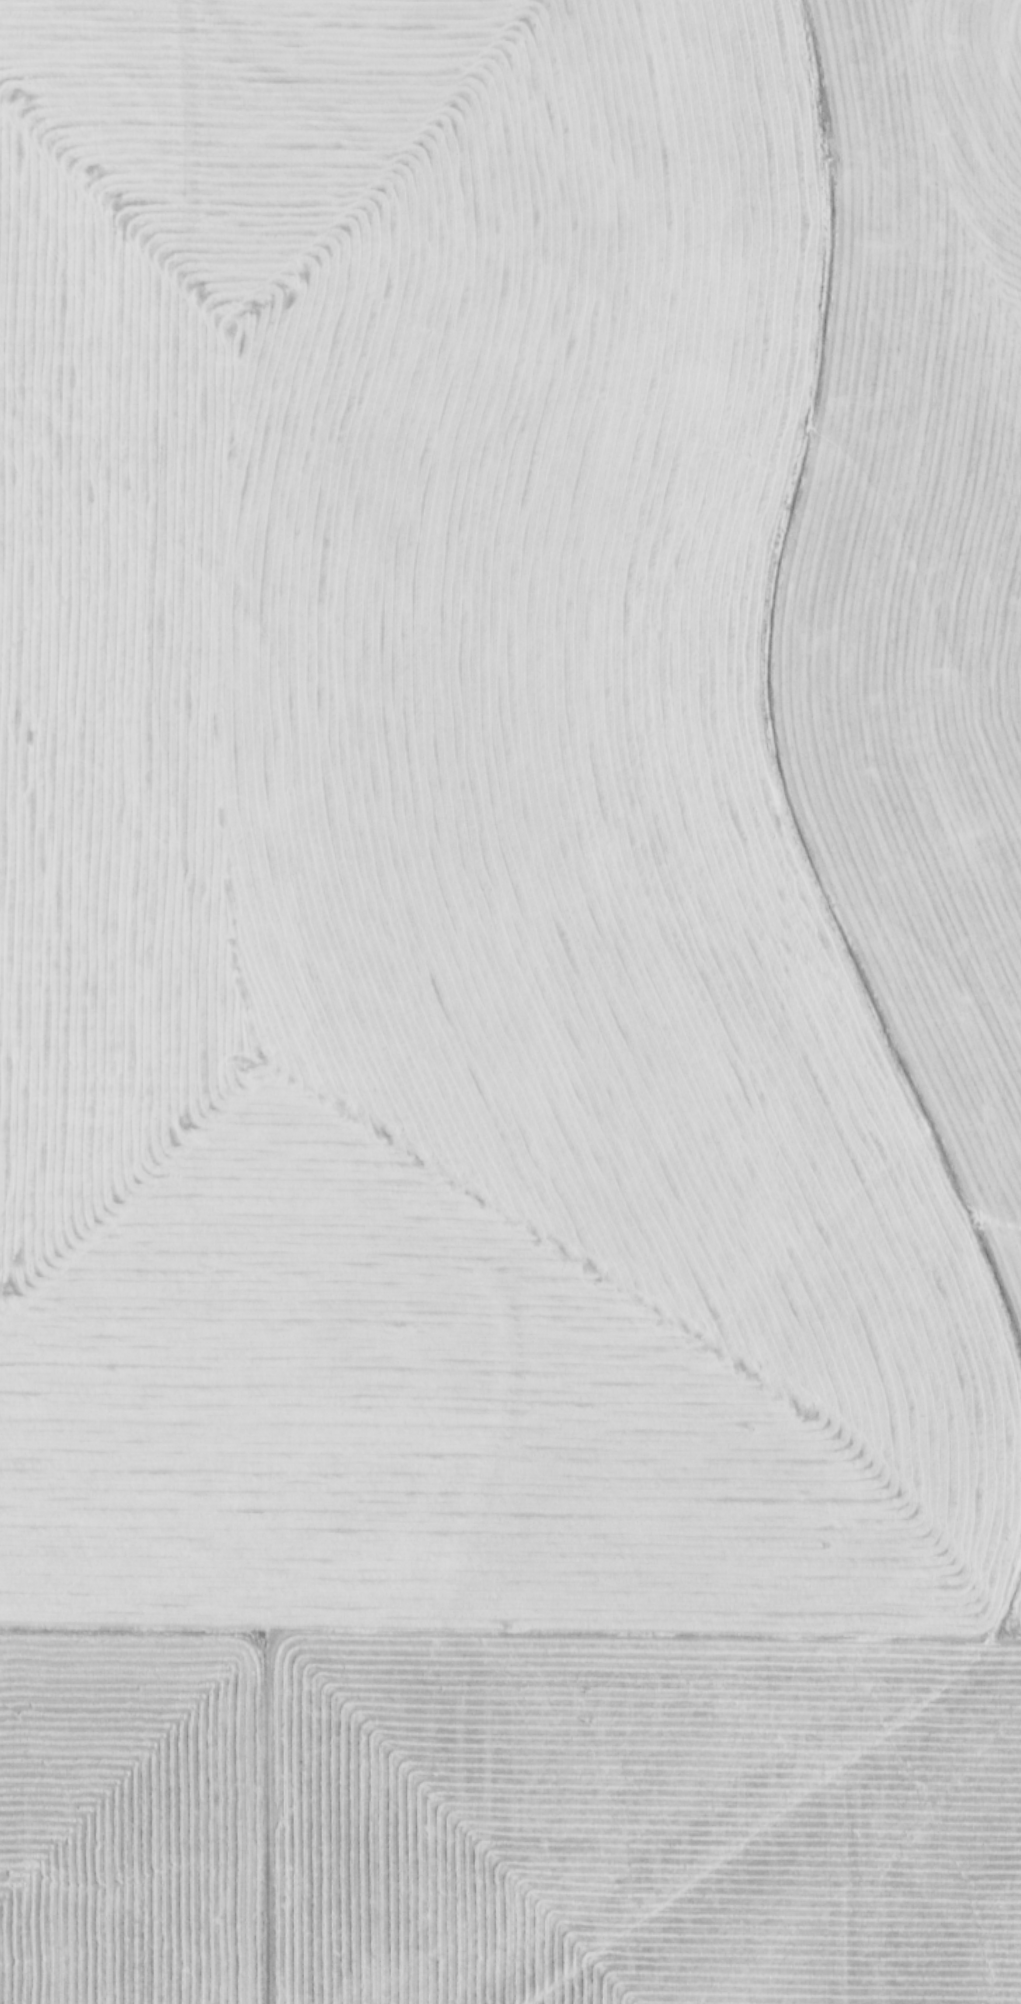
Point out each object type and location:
crop: (510, 1002)

